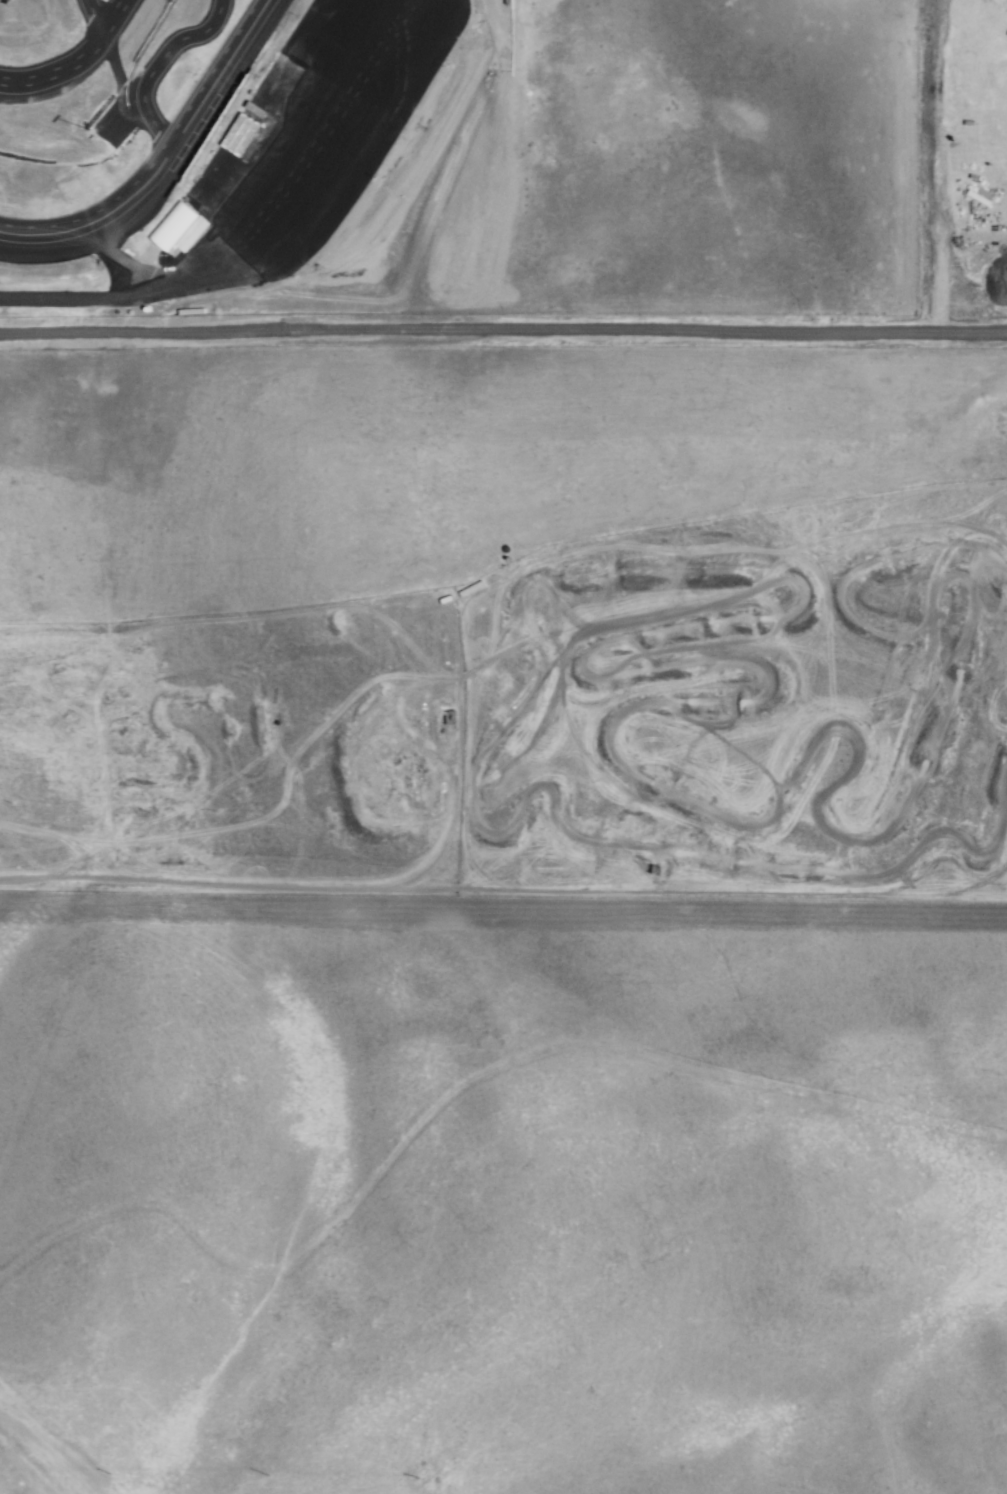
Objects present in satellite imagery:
road: (372, 0)
raceway: (90, 18)
raceway: (73, 62)
raceway: (155, 63)
parking lot: (350, 159)
raceway: (157, 160)
raceway: (176, 178)
road: (343, 192)
road: (225, 216)
building: (176, 227)

